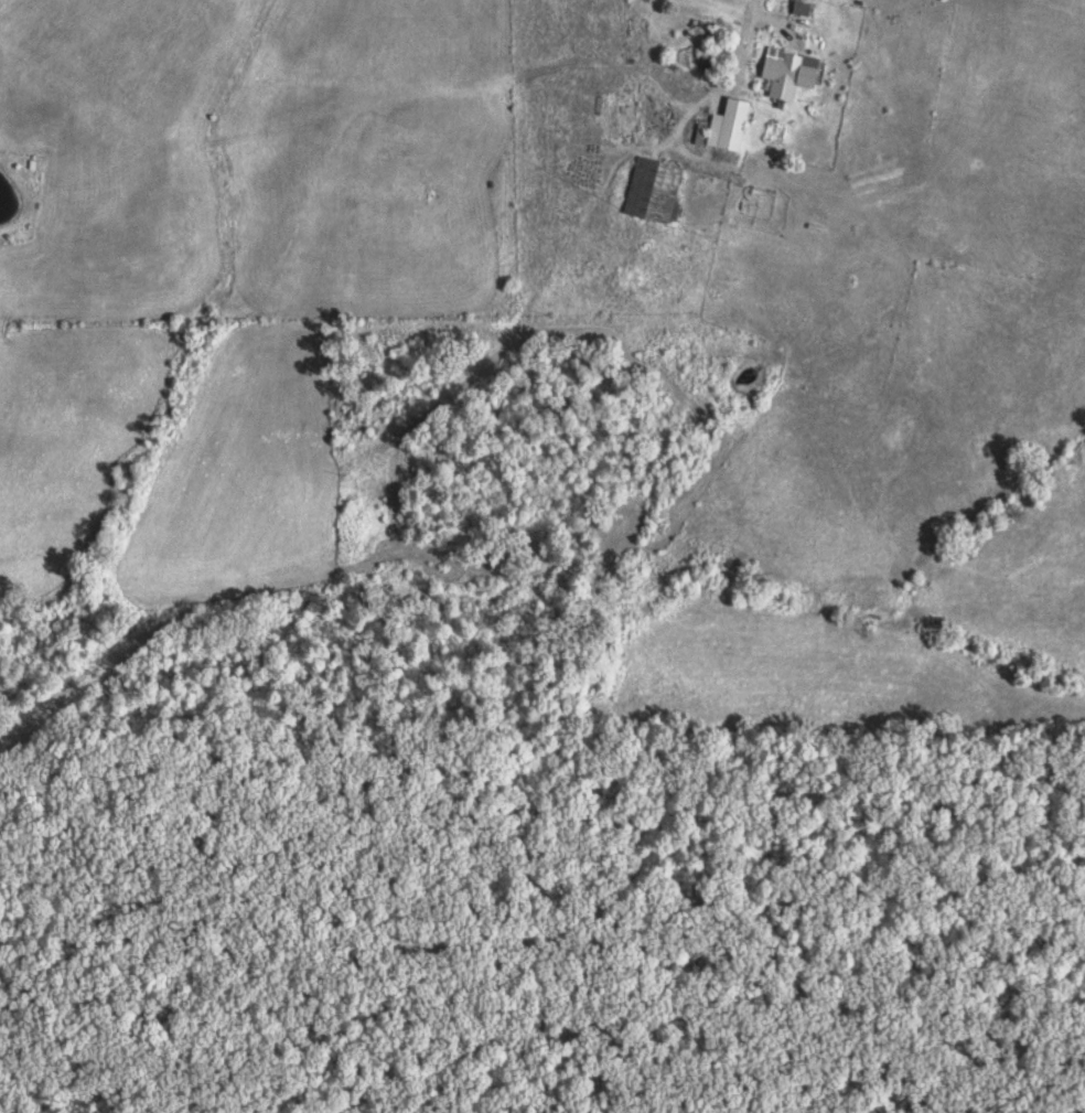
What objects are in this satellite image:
building: (806, 6)
road: (744, 39)
building: (794, 71)
building: (733, 124)
building: (658, 188)

